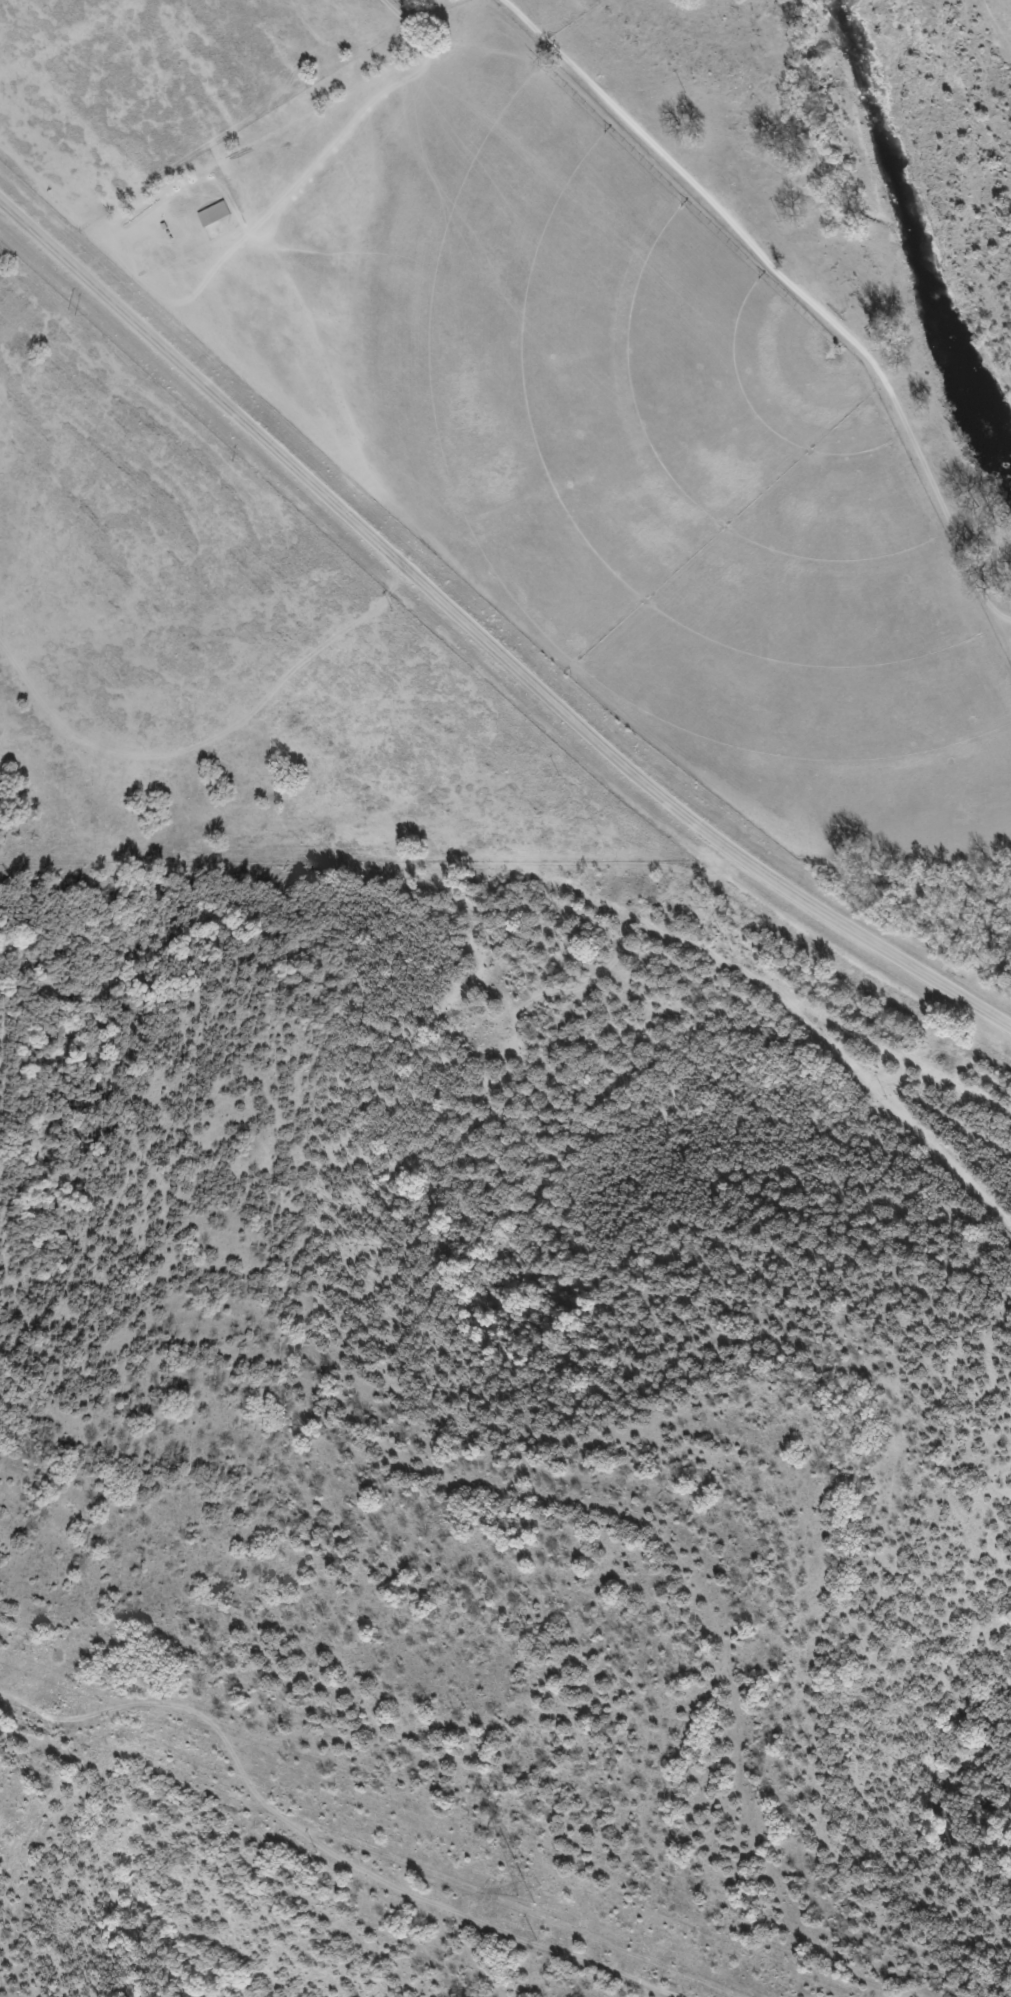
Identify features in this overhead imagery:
road: (485, 636)
power tower: (522, 1894)

